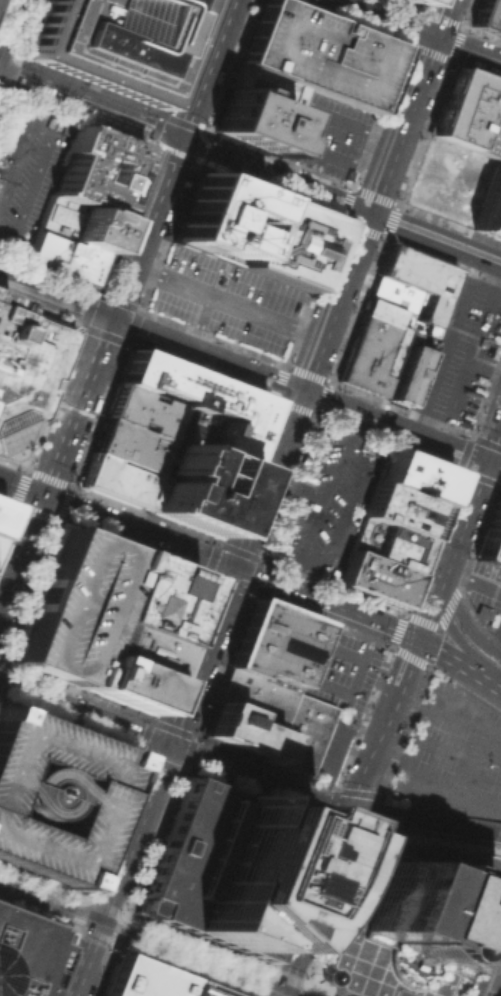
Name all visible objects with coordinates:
building: (410, 2)
railway: (3, 8)
road: (419, 11)
road: (389, 17)
road: (442, 17)
building: (487, 17)
road: (11, 28)
traffic signals: (436, 36)
building: (112, 42)
road: (468, 48)
road: (8, 52)
building: (318, 54)
parking lot: (318, 54)
building: (37, 73)
building: (267, 88)
building: (470, 114)
building: (254, 122)
road: (301, 125)
parking lot: (327, 135)
traffic signals: (177, 141)
road: (31, 161)
road: (193, 165)
road: (250, 168)
parking lot: (26, 169)
building: (95, 170)
road: (317, 172)
road: (350, 189)
building: (490, 207)
road: (369, 213)
traffic signals: (369, 214)
building: (218, 218)
building: (75, 222)
building: (285, 243)
building: (62, 257)
building: (418, 280)
parking lot: (226, 299)
road: (226, 300)
road: (115, 304)
building: (2, 307)
building: (402, 308)
road: (107, 316)
traffic signals: (110, 318)
road: (215, 327)
road: (125, 341)
building: (371, 348)
road: (461, 351)
parking lot: (459, 353)
road: (337, 362)
building: (28, 363)
road: (479, 367)
road: (257, 374)
building: (404, 375)
road: (319, 378)
traffic signals: (301, 391)
road: (327, 391)
building: (197, 406)
building: (143, 411)
road: (401, 429)
road: (357, 432)
building: (130, 445)
building: (0, 449)
road: (338, 450)
road: (459, 461)
traffic signals: (485, 461)
building: (413, 476)
building: (117, 480)
road: (21, 486)
building: (191, 488)
road: (294, 488)
traffic signals: (43, 495)
parking lot: (327, 503)
building: (2, 510)
building: (400, 511)
road: (9, 514)
road: (458, 528)
road: (138, 531)
building: (491, 535)
building: (387, 545)
road: (464, 567)
traffic signals: (235, 568)
road: (300, 575)
traffic signals: (440, 578)
road: (472, 578)
building: (374, 579)
parking lot: (484, 594)
building: (150, 598)
road: (440, 598)
road: (326, 603)
building: (68, 606)
parking lot: (68, 606)
building: (482, 611)
road: (444, 616)
road: (463, 624)
road: (499, 630)
traffic signals: (417, 639)
building: (273, 643)
building: (130, 649)
road: (341, 652)
road: (470, 655)
road: (2, 665)
road: (459, 665)
parking lot: (338, 668)
road: (354, 678)
building: (117, 683)
road: (186, 693)
building: (253, 696)
road: (448, 723)
road: (383, 726)
building: (240, 730)
building: (300, 733)
parking lot: (300, 733)
traffic signals: (167, 745)
road: (174, 747)
road: (339, 747)
parking lot: (325, 749)
parking lot: (453, 754)
road: (158, 761)
road: (32, 773)
road: (435, 775)
road: (11, 789)
building: (54, 796)
parking lot: (54, 796)
road: (118, 798)
road: (77, 803)
traffic signals: (350, 814)
road: (325, 818)
road: (422, 819)
road: (119, 825)
road: (322, 826)
road: (498, 832)
road: (448, 841)
road: (389, 844)
road: (495, 848)
road: (421, 852)
road: (331, 860)
building: (225, 868)
road: (481, 886)
road: (83, 898)
road: (335, 912)
road: (96, 919)
traffic signals: (100, 921)
road: (71, 925)
building: (405, 931)
road: (111, 940)
railway: (140, 943)
road: (299, 948)
railway: (120, 949)
building: (25, 954)
road: (487, 961)
road: (184, 967)
road: (104, 968)
road: (239, 972)
road: (281, 975)
railway: (494, 978)
building: (139, 979)
road: (497, 985)
road: (256, 989)
road: (303, 989)
road: (322, 989)
building: (199, 990)
traffic signals: (284, 990)
railway: (499, 991)
road: (283, 993)
road: (292, 993)
road: (253, 995)

